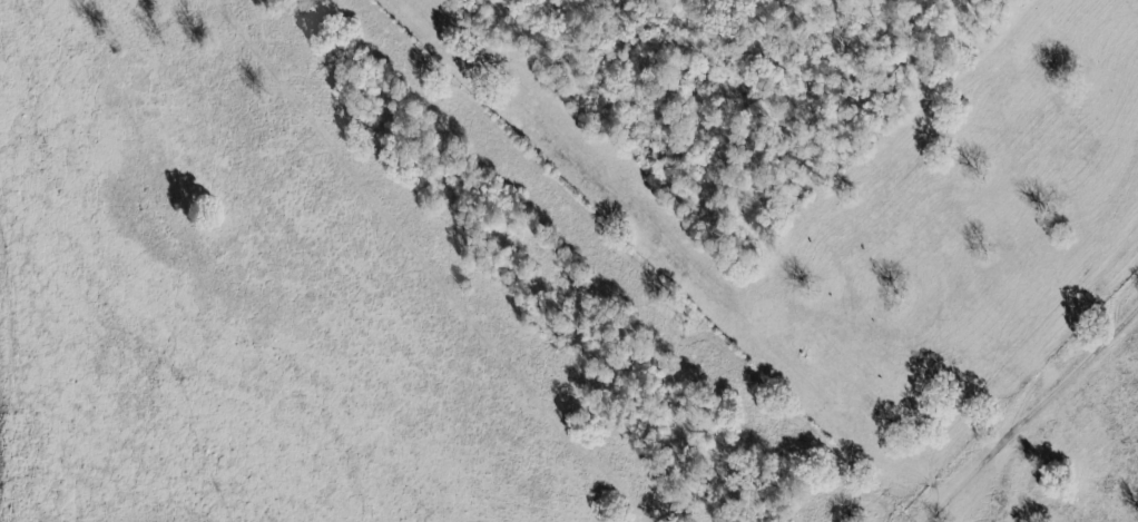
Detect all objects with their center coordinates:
road: (1077, 364)

